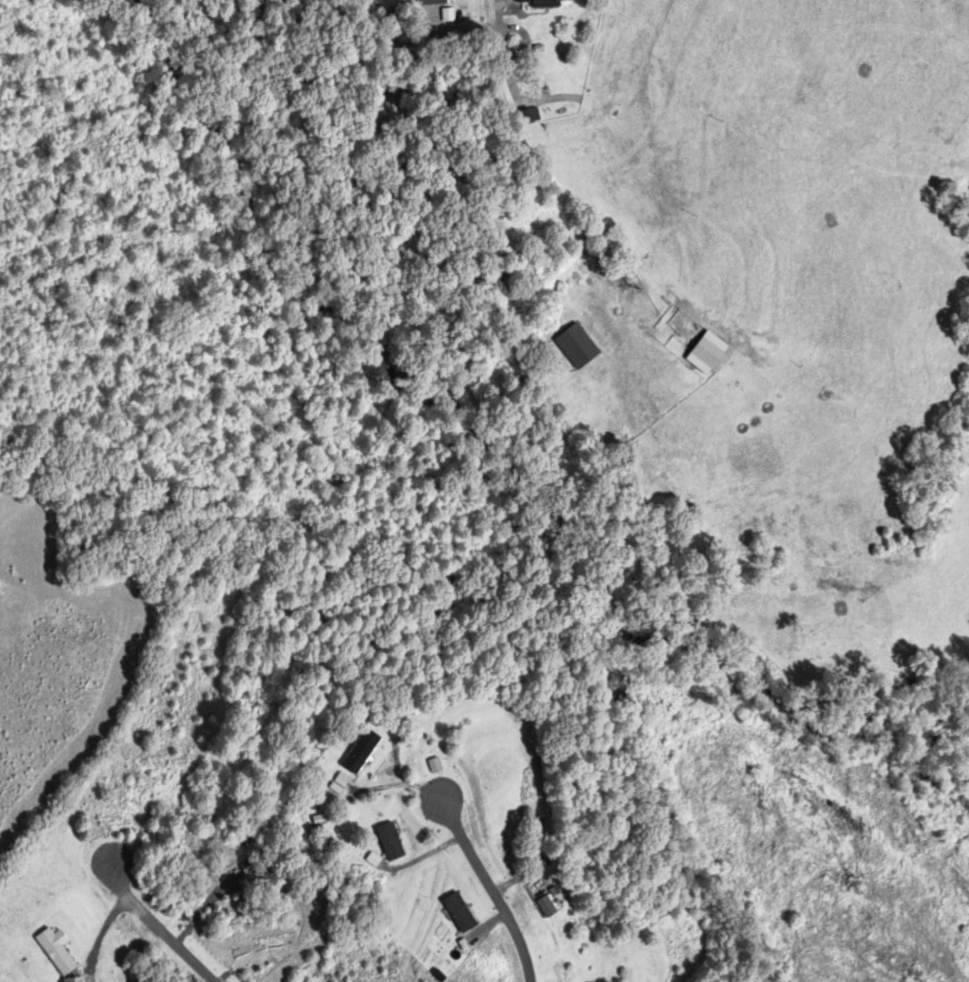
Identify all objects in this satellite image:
building: (432, 2)
building: (541, 2)
building: (527, 116)
building: (577, 347)
building: (696, 352)
building: (361, 751)
building: (136, 787)
building: (390, 842)
road: (490, 886)
building: (459, 912)
road: (159, 928)
building: (55, 952)
building: (294, 979)

